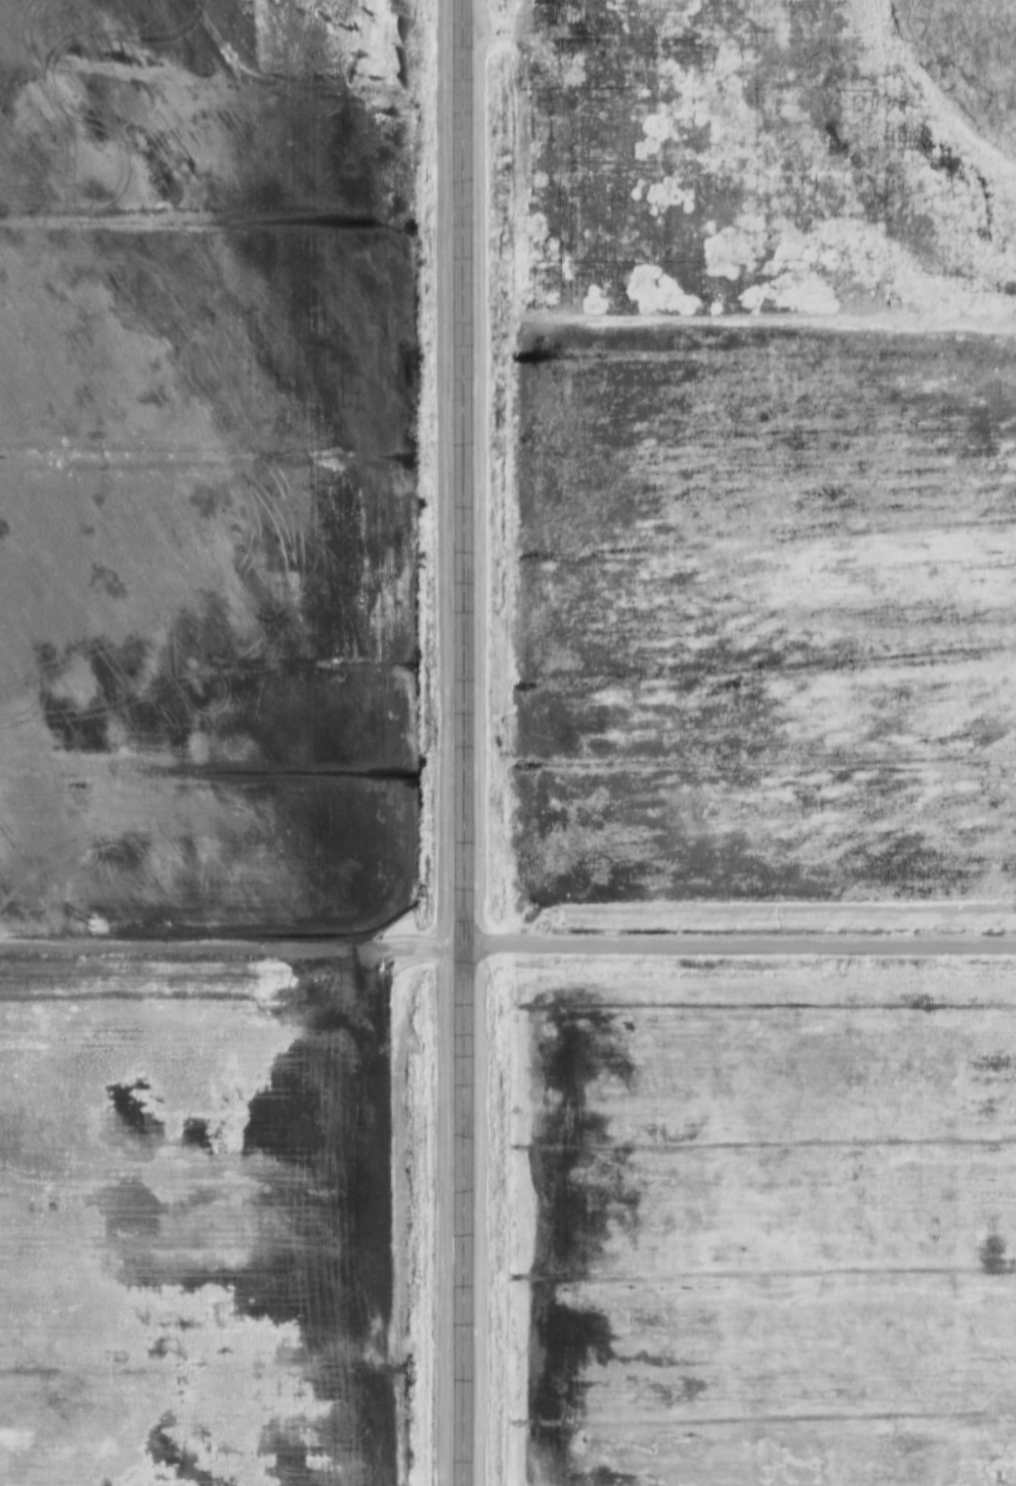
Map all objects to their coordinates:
road: (469, 742)
road: (742, 948)

